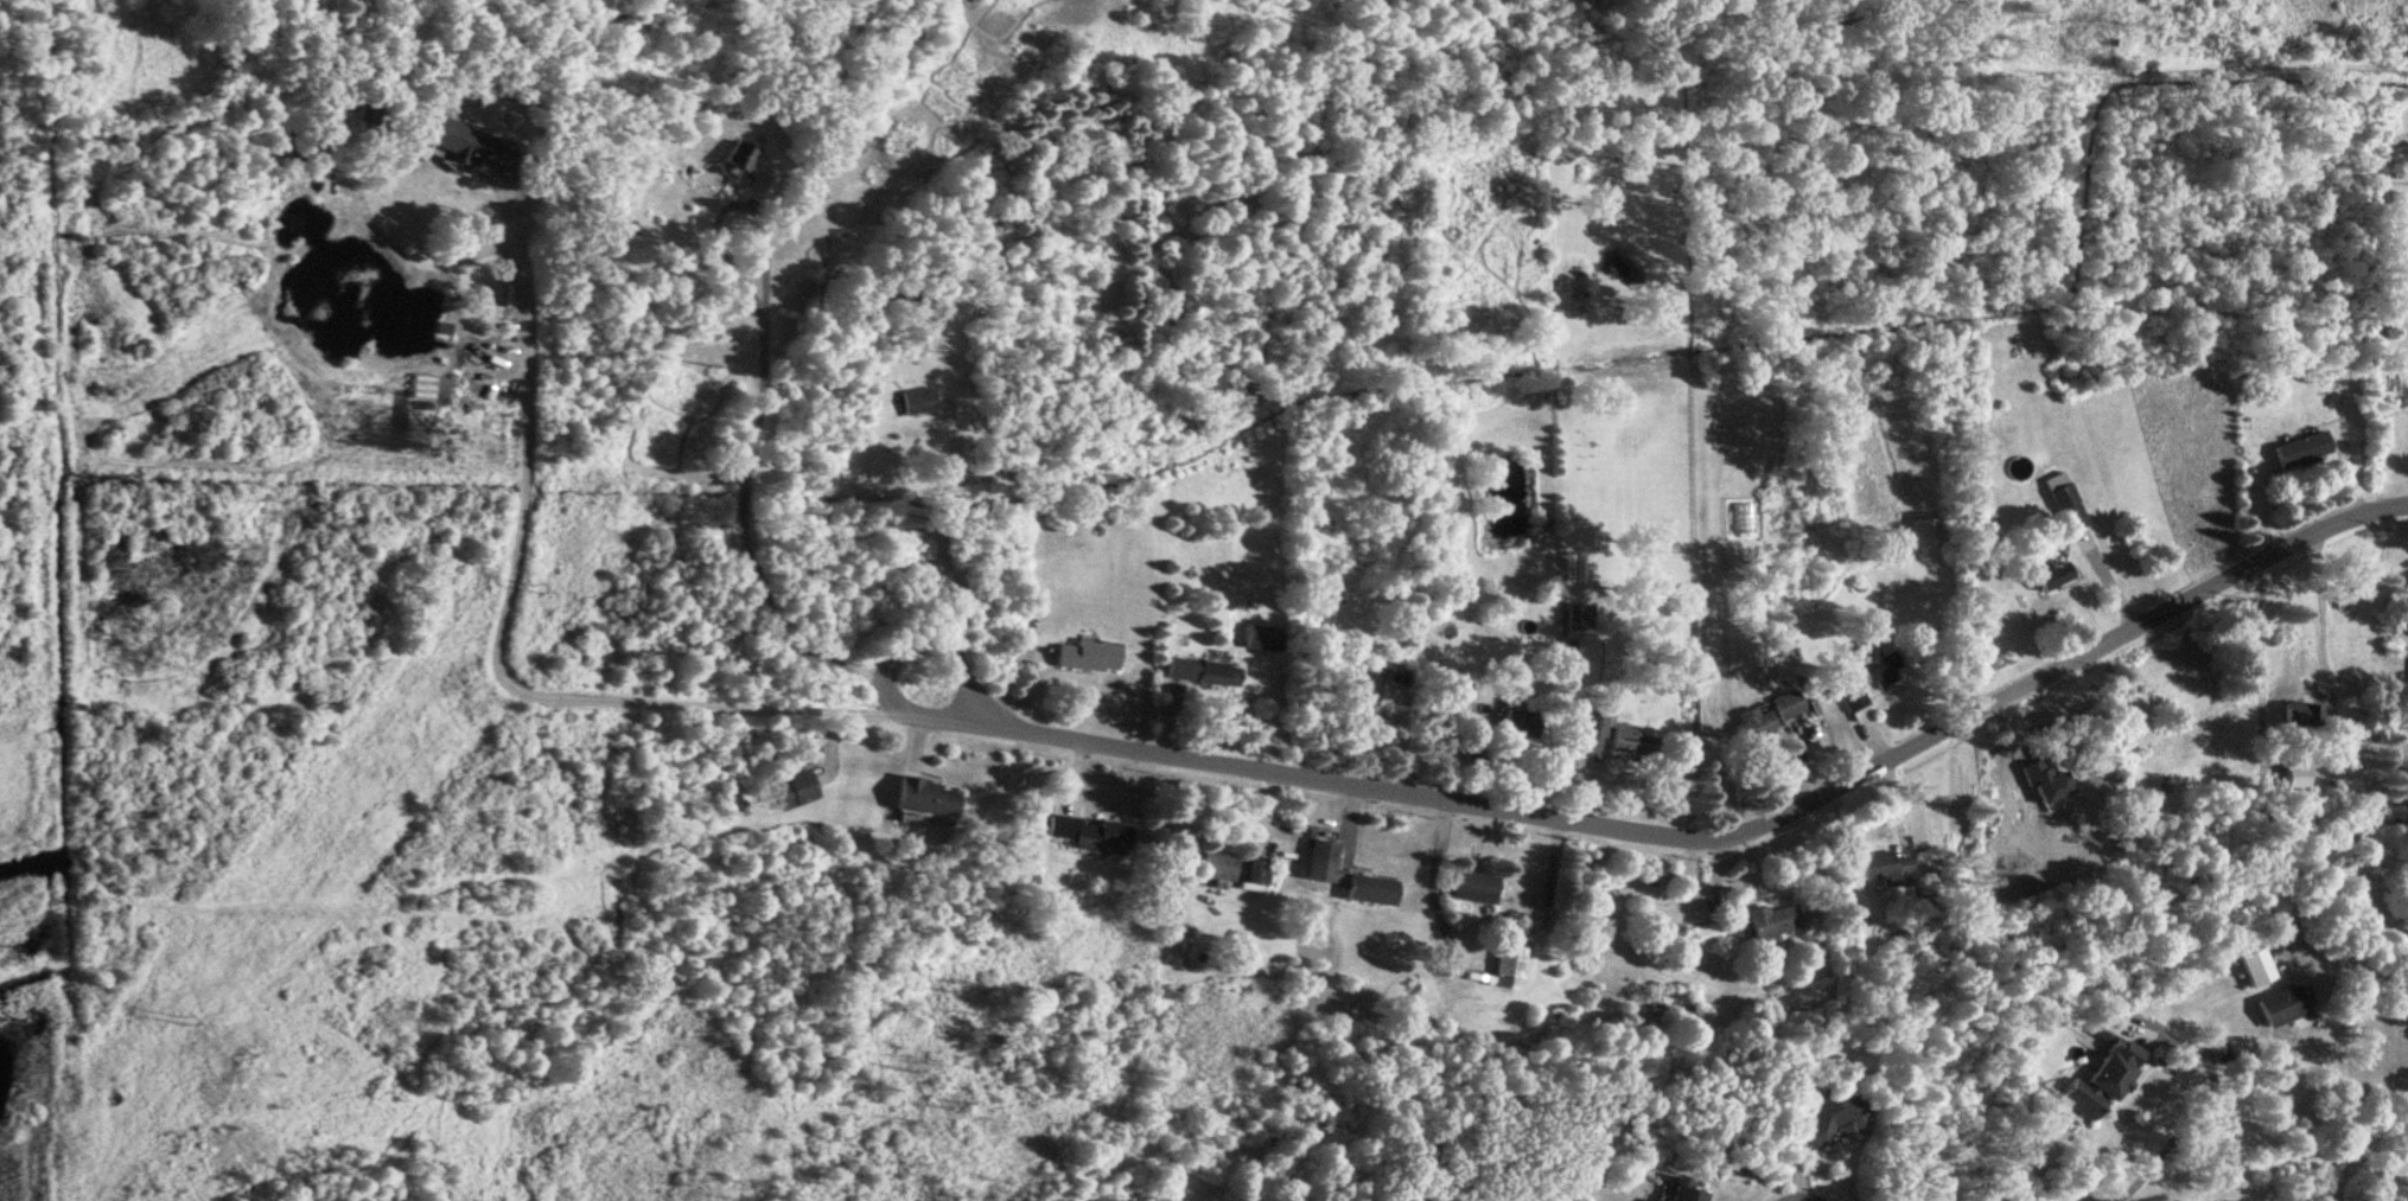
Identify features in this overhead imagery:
building: (467, 145)
power tower: (904, 147)
building: (739, 155)
building: (758, 187)
building: (913, 400)
building: (2296, 447)
road: (739, 490)
building: (2060, 499)
building: (1920, 530)
road: (941, 537)
building: (2047, 574)
power tower: (546, 592)
building: (1576, 615)
road: (495, 645)
building: (1087, 653)
road: (885, 659)
road: (2255, 665)
building: (1875, 666)
building: (1199, 670)
building: (1361, 686)
building: (1849, 697)
building: (1783, 703)
building: (2291, 713)
building: (1516, 721)
building: (1750, 722)
building: (1586, 736)
building: (1625, 737)
building: (790, 788)
building: (920, 796)
building: (2055, 800)
road: (1738, 829)
building: (1089, 833)
building: (1316, 858)
building: (1211, 864)
building: (1879, 865)
building: (1249, 874)
building: (1469, 886)
building: (1367, 888)
building: (1766, 922)
building: (1705, 931)
building: (1508, 960)
building: (2251, 965)
building: (2276, 1004)
power tower: (197, 1022)
building: (2098, 1077)
building: (1836, 1114)
building: (1687, 1189)
road: (2115, 1192)

